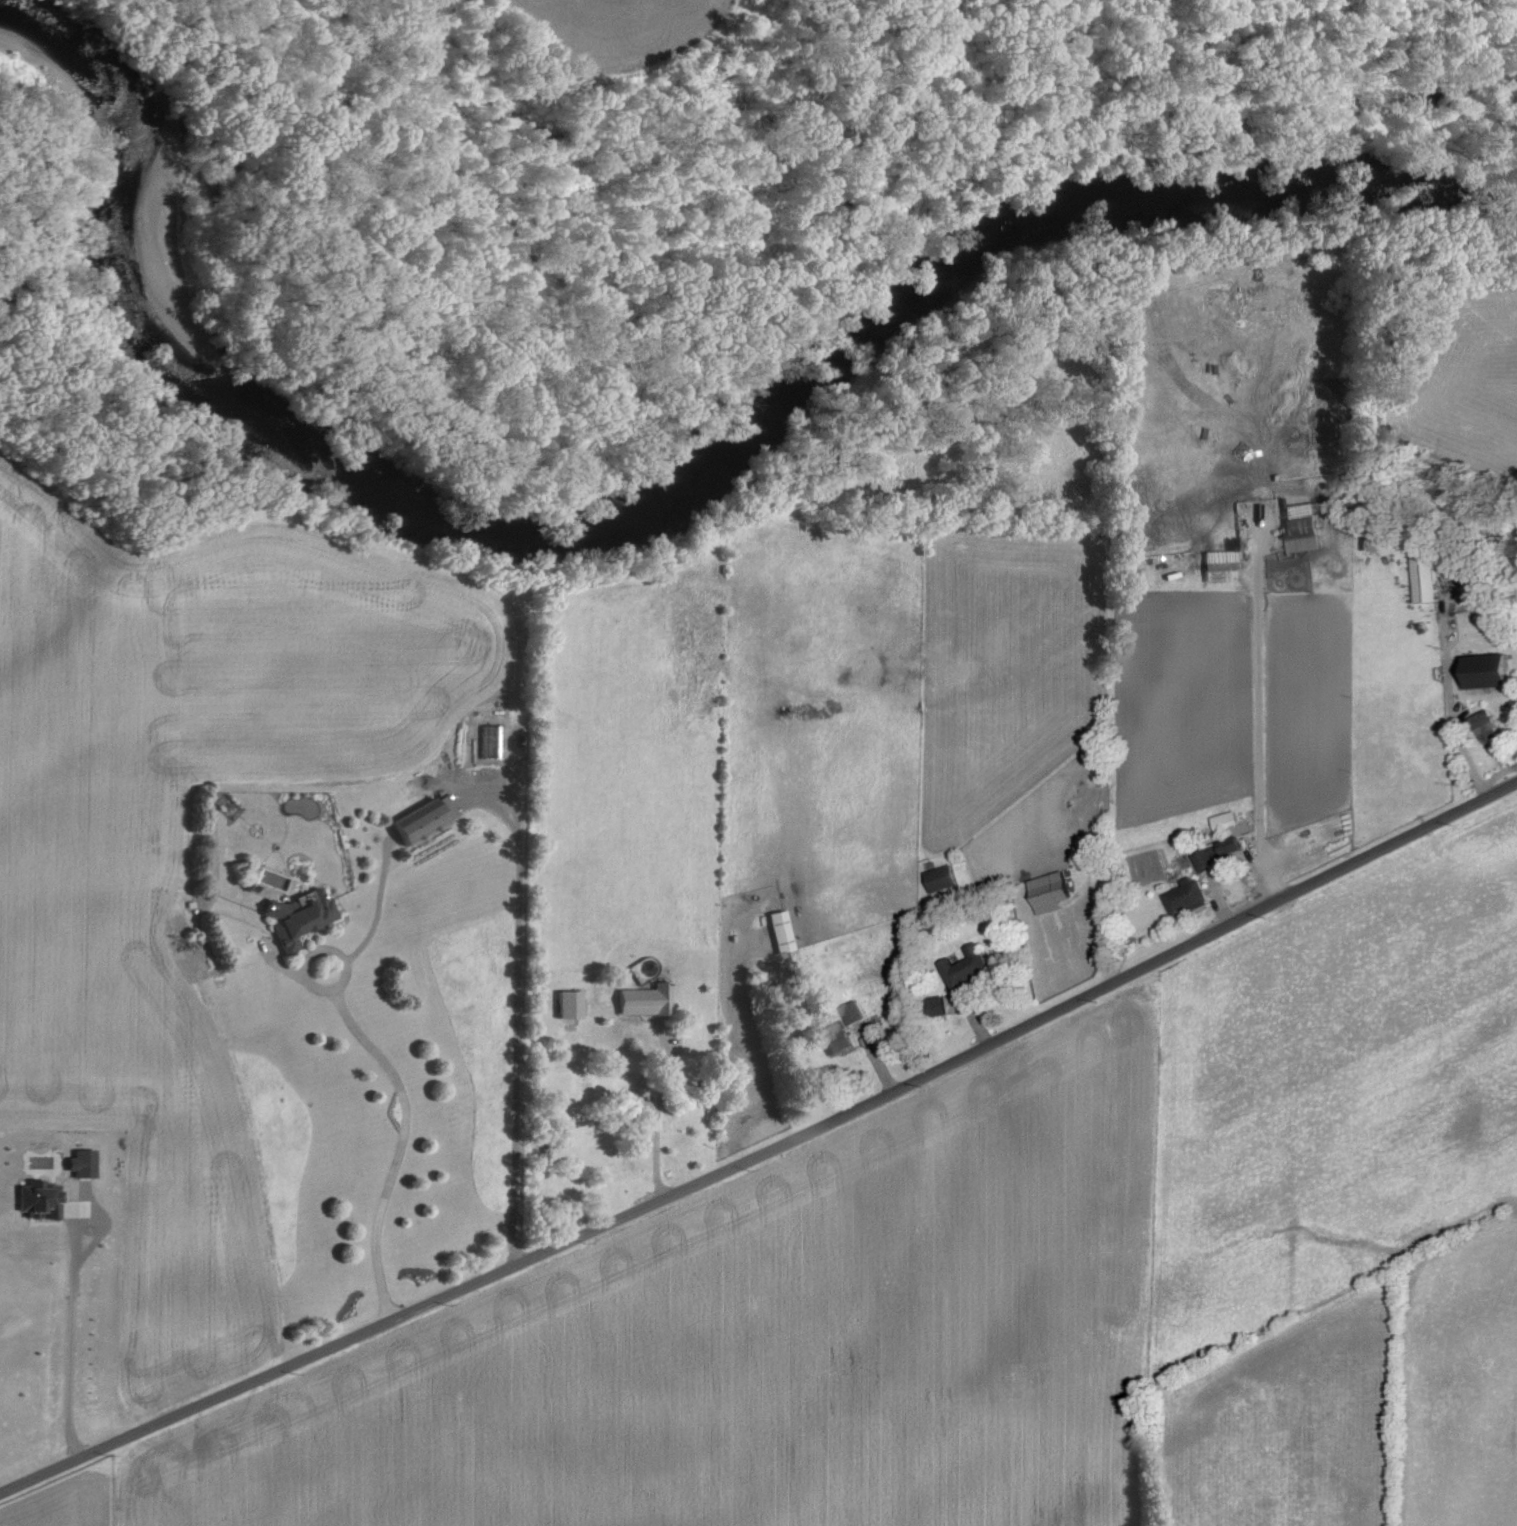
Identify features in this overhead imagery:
river: (669, 498)
building: (1299, 527)
building: (1220, 565)
building: (1421, 572)
building: (1484, 671)
road: (1256, 722)
building: (1484, 726)
road: (1460, 732)
building: (490, 741)
building: (1224, 819)
building: (1214, 853)
building: (939, 878)
building: (1047, 892)
building: (1186, 897)
road: (377, 907)
building: (295, 916)
building: (778, 931)
building: (963, 966)
road: (311, 986)
building: (642, 1000)
road: (516, 1004)
building: (567, 1004)
building: (934, 1006)
building: (850, 1012)
building: (833, 1038)
road: (658, 1111)
road: (401, 1143)
road: (765, 1152)
building: (79, 1163)
building: (37, 1199)
road: (69, 1336)

